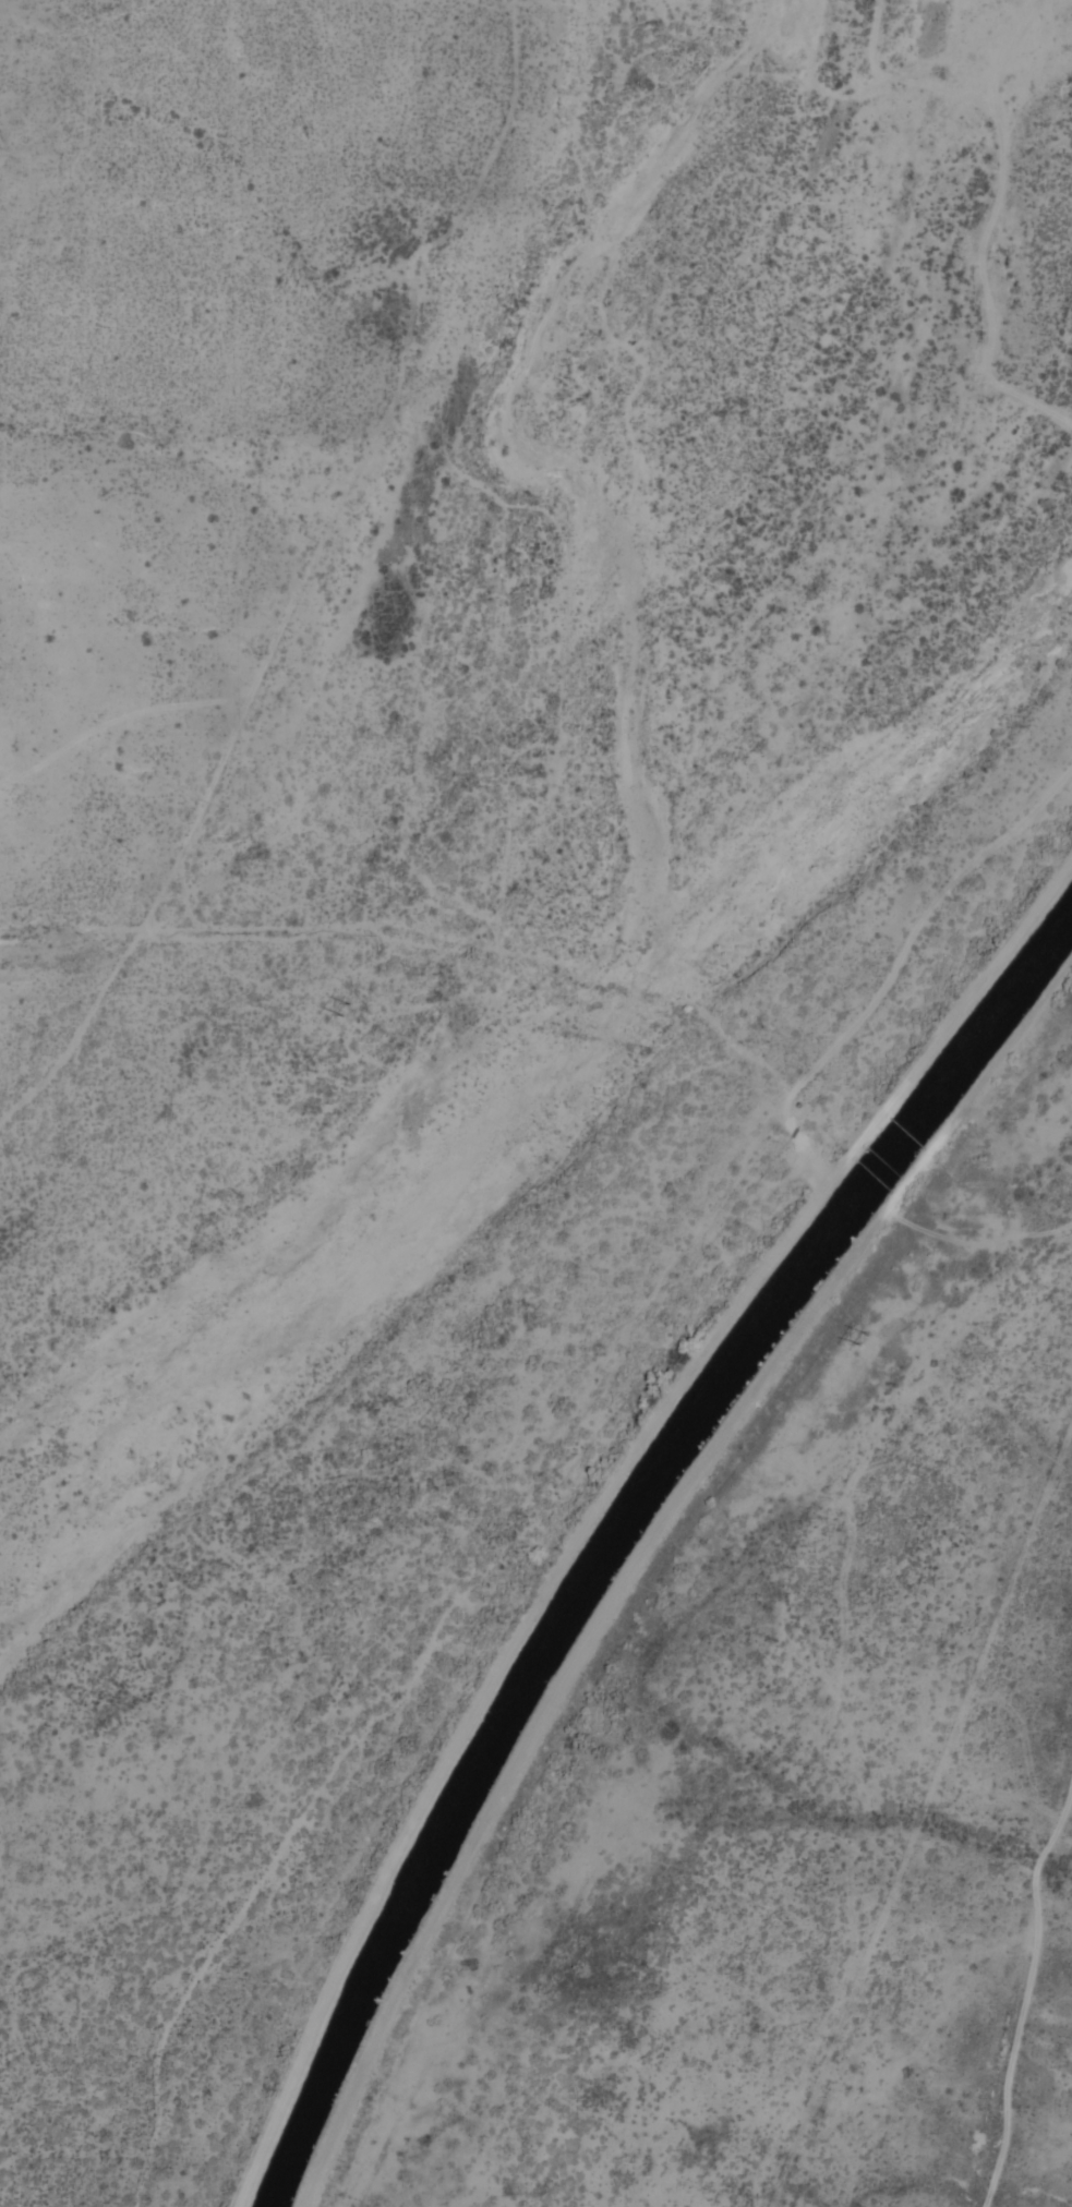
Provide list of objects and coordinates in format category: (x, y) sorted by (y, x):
power tower: (344, 1009)
river: (575, 1041)
power tower: (857, 1337)
road: (1035, 2004)

